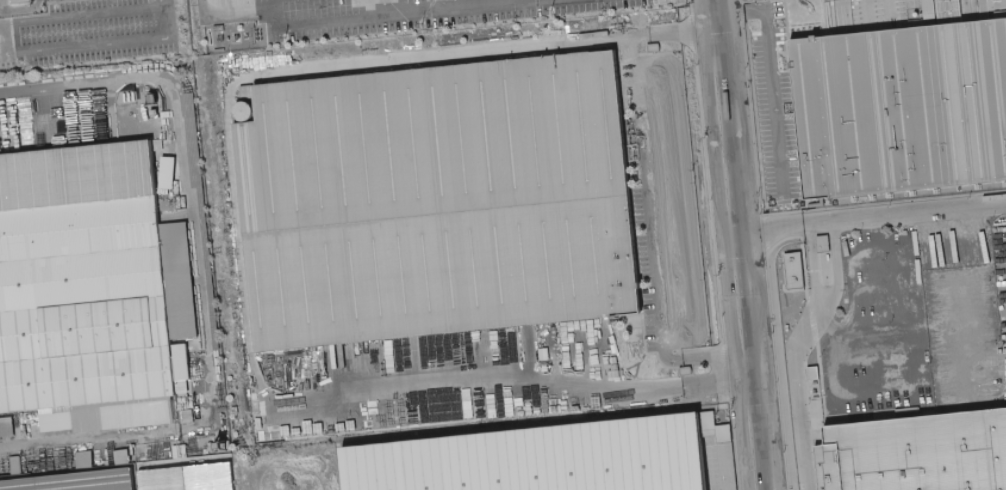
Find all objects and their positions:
building: (20, 1)
road: (162, 1)
road: (227, 12)
road: (409, 12)
parking lot: (867, 14)
parking lot: (91, 33)
power substation: (235, 36)
building: (900, 106)
parking lot: (775, 116)
road: (748, 244)
road: (721, 245)

